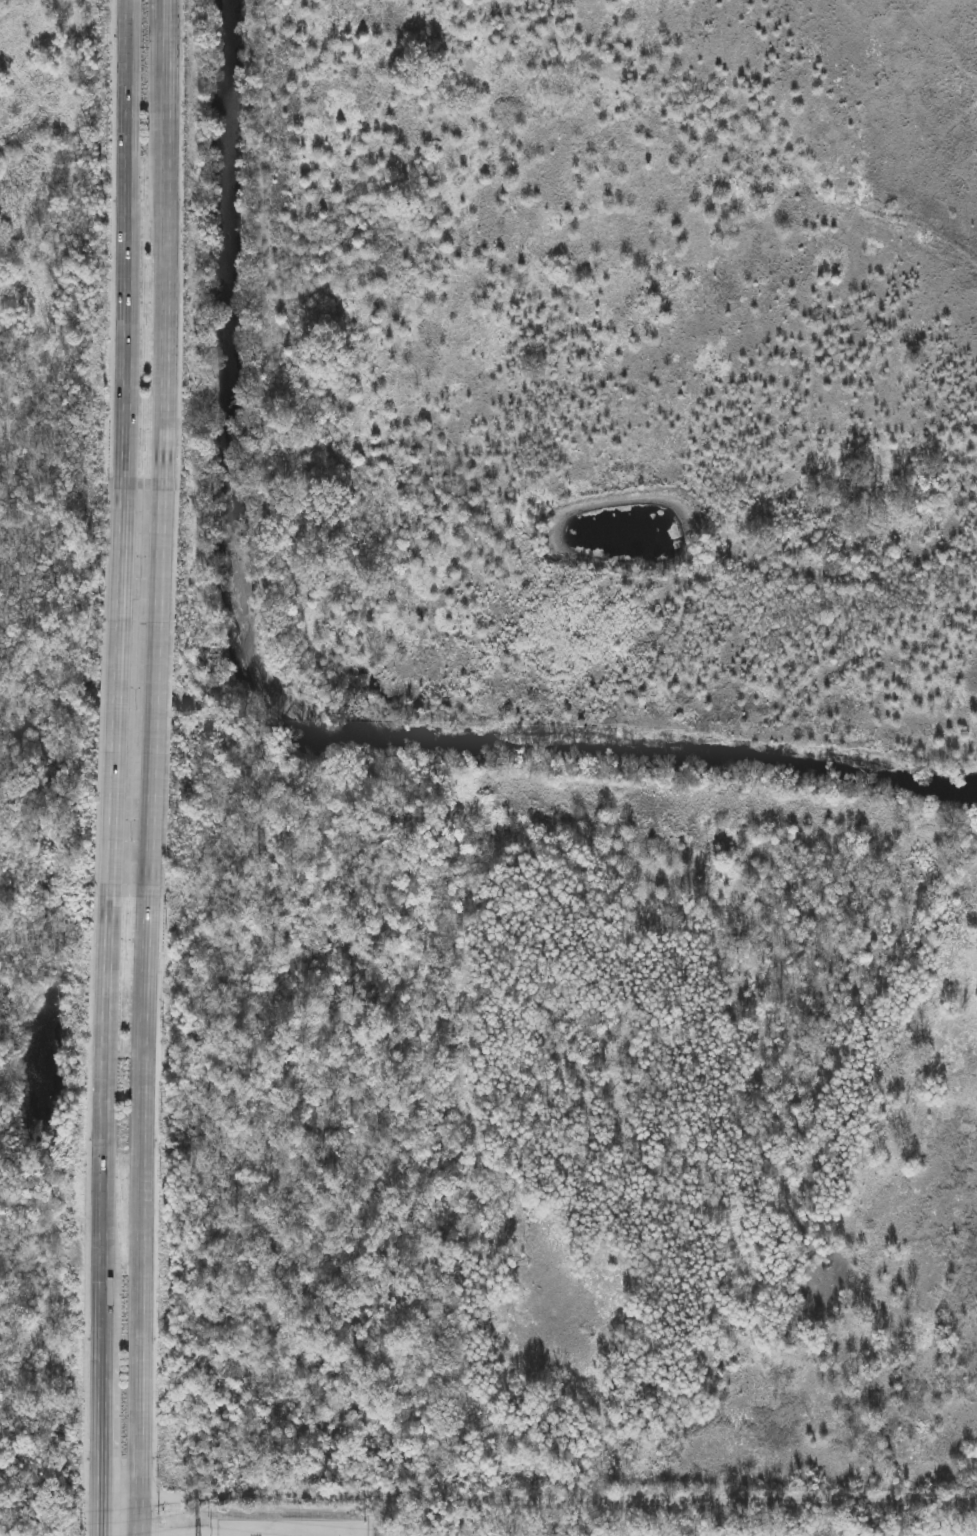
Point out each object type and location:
road: (170, 27)
road: (127, 245)
road: (167, 271)
road: (160, 692)
road: (119, 694)
road: (107, 1125)
road: (140, 1215)
road: (101, 1423)
building: (971, 1453)
road: (116, 1496)
road: (553, 1499)
road: (101, 1515)
power substation: (289, 1526)

